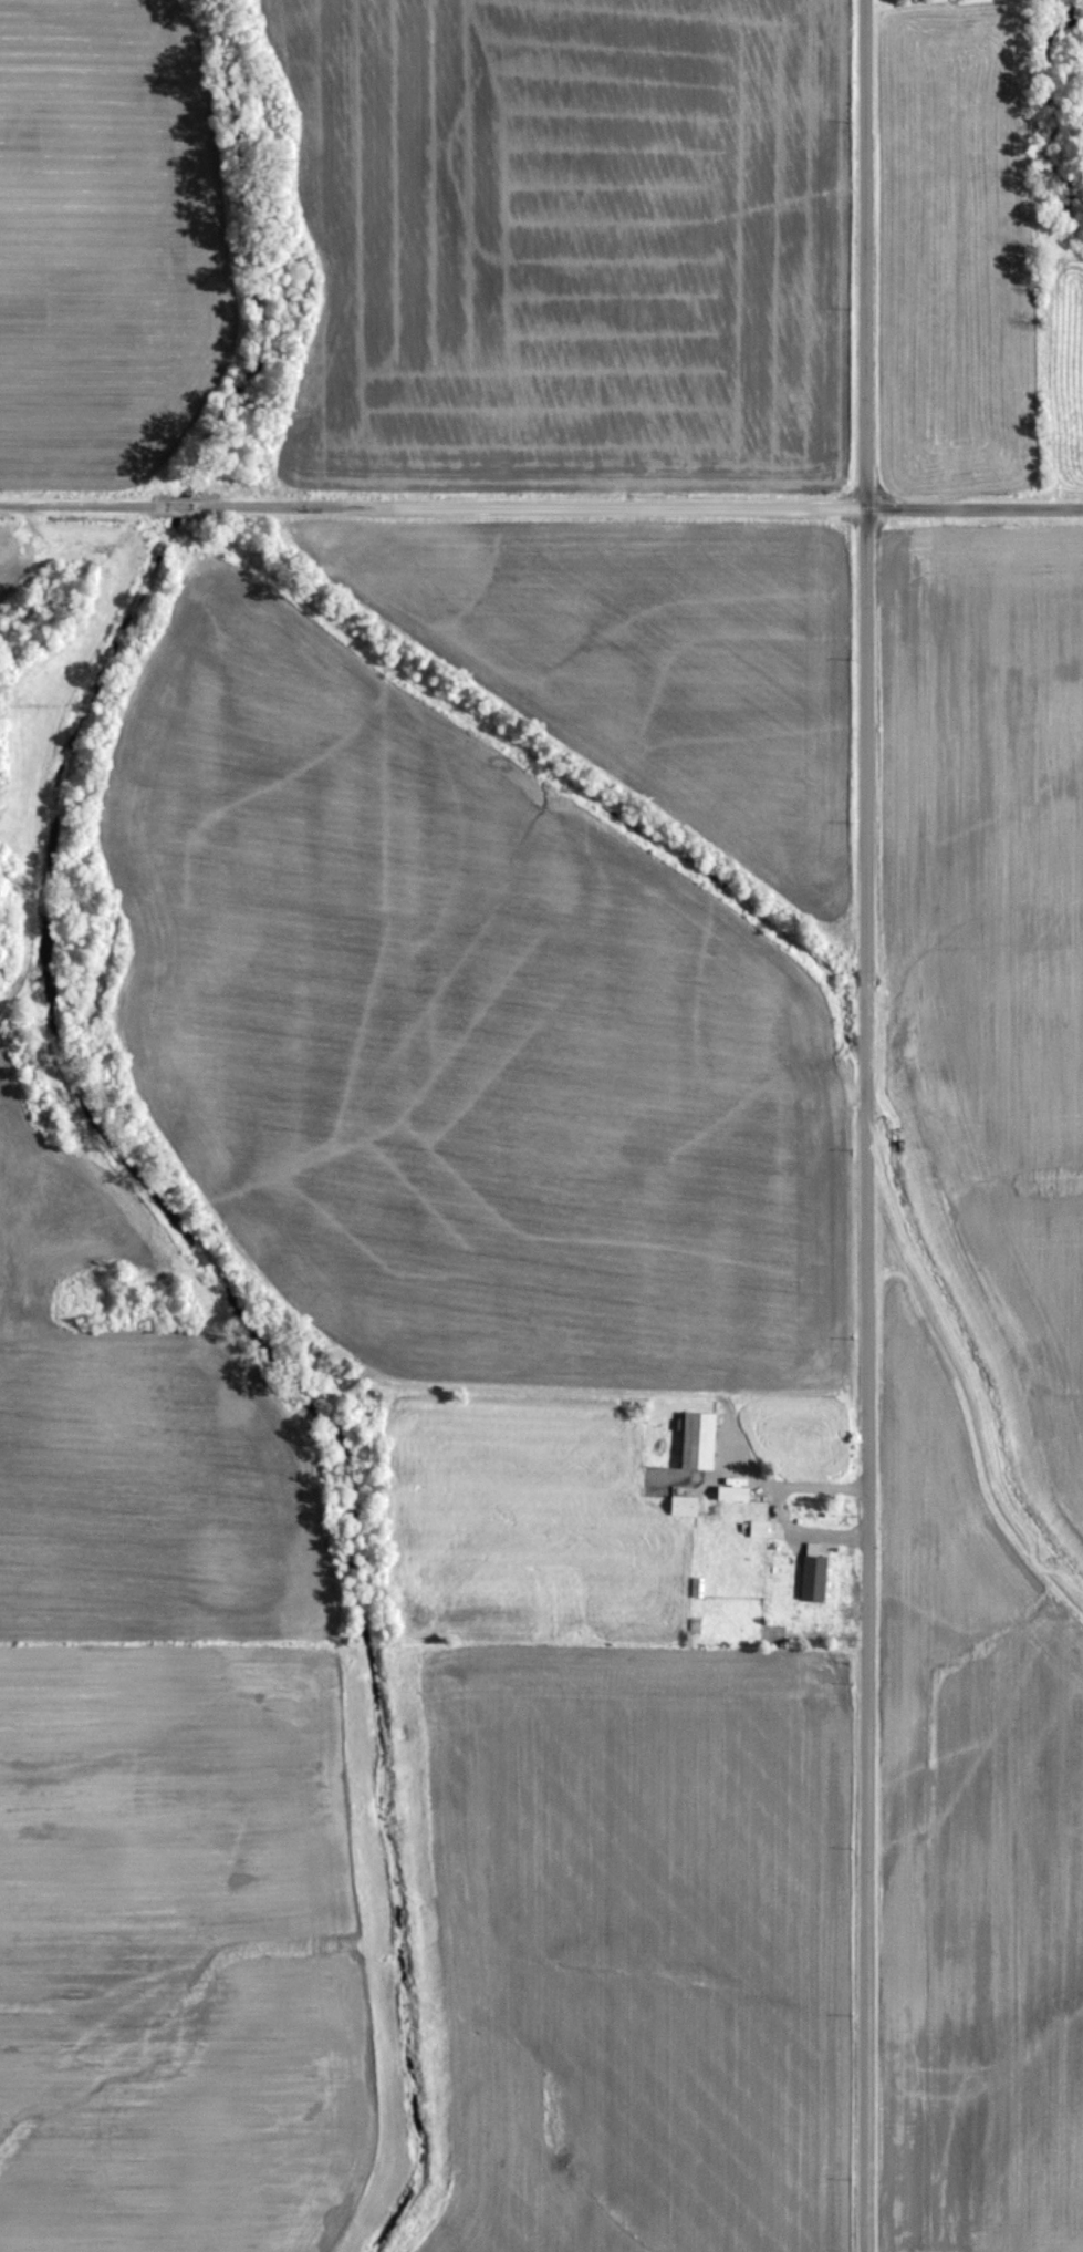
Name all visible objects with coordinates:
road: (541, 494)
road: (864, 1125)
building: (699, 1436)
building: (733, 1490)
building: (685, 1502)
road: (773, 1502)
building: (757, 1526)
building: (814, 1574)

